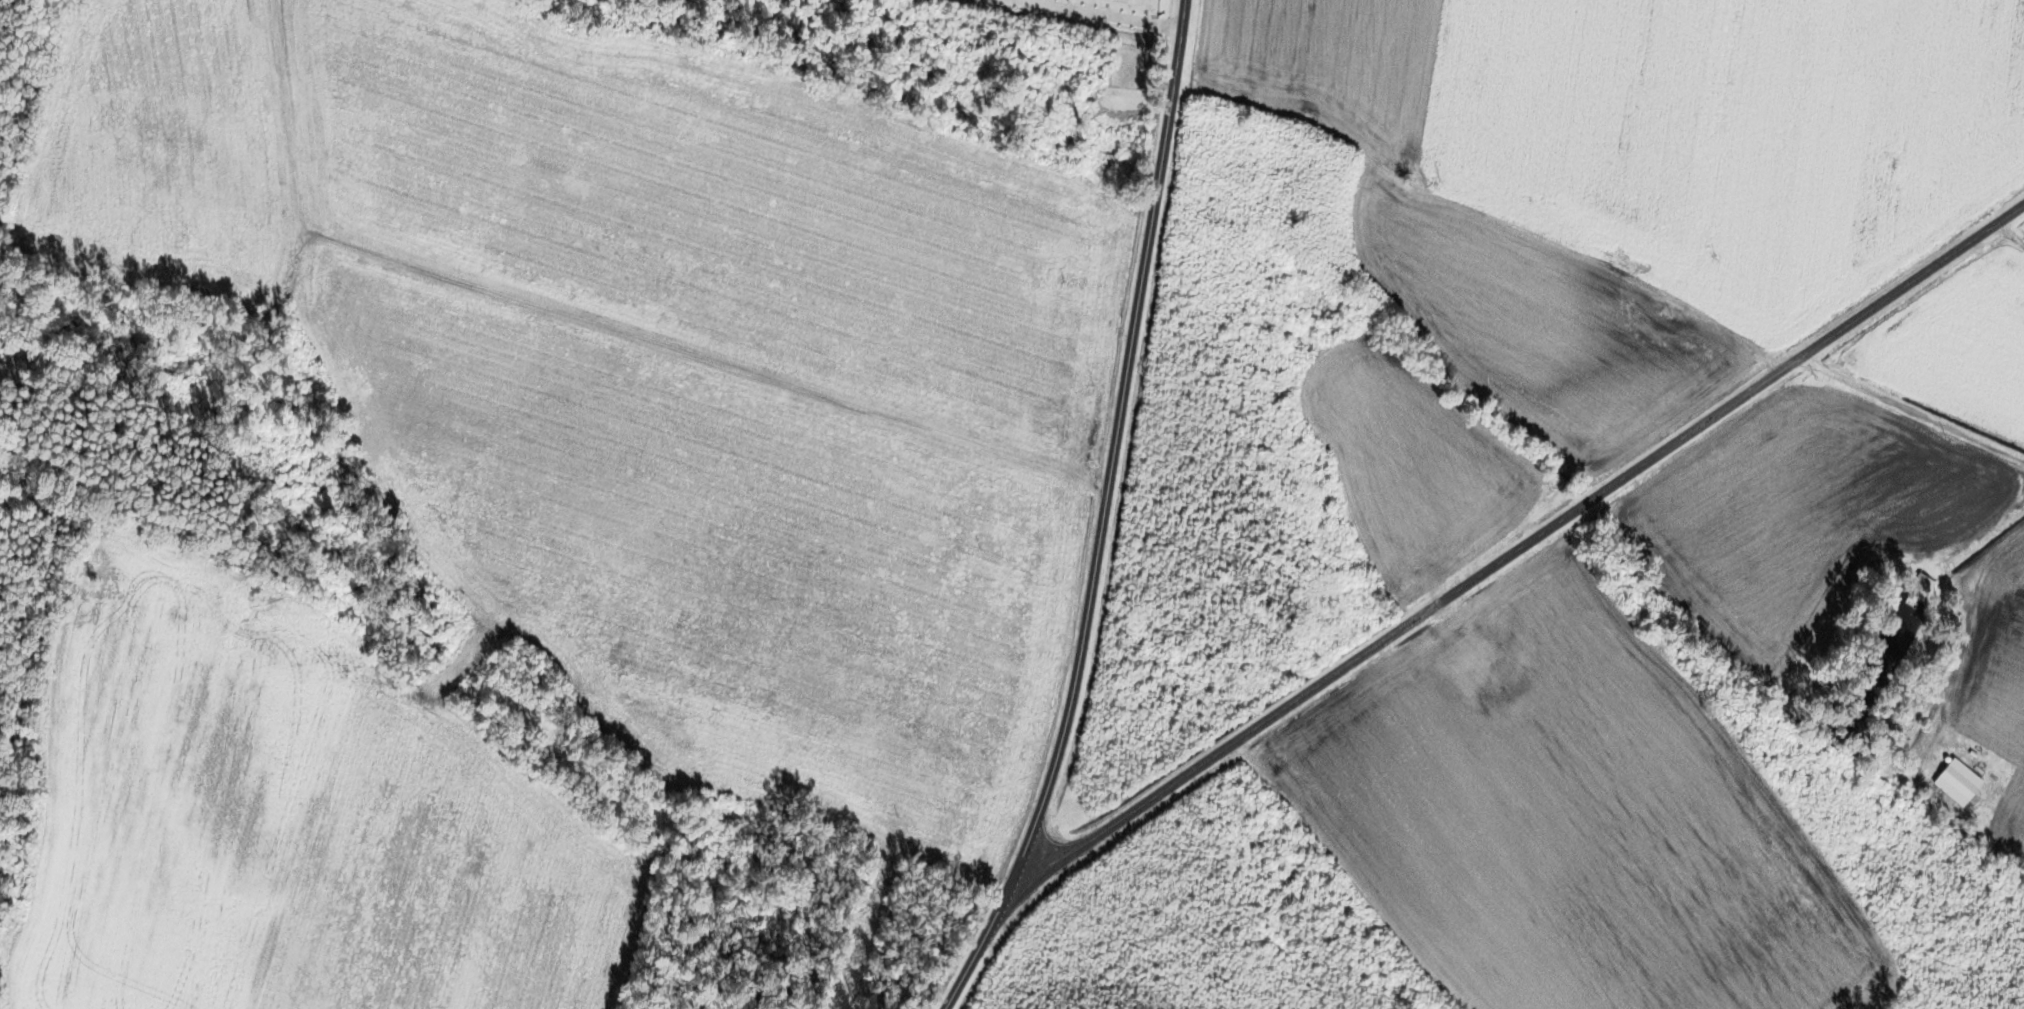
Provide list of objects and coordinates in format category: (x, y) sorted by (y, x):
road: (2013, 233)
road: (690, 357)
road: (1912, 410)
road: (1101, 516)
road: (1525, 544)
building: (1469, 650)

